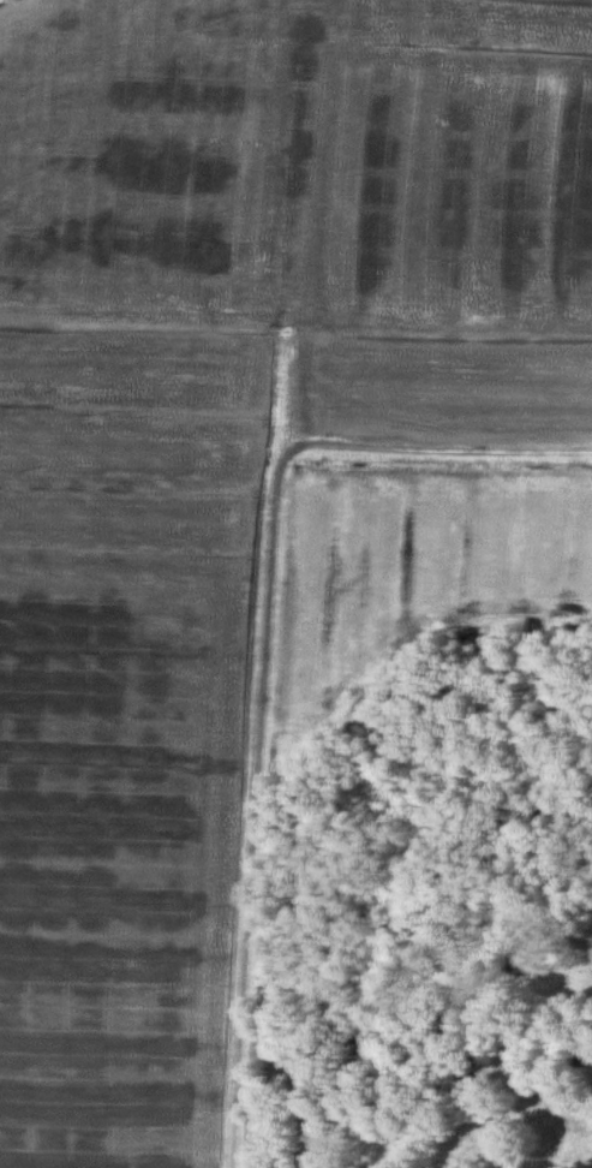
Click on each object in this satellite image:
crop: (319, 198)
crop: (403, 565)
road: (267, 661)
crop: (127, 734)
crop: (568, 946)

